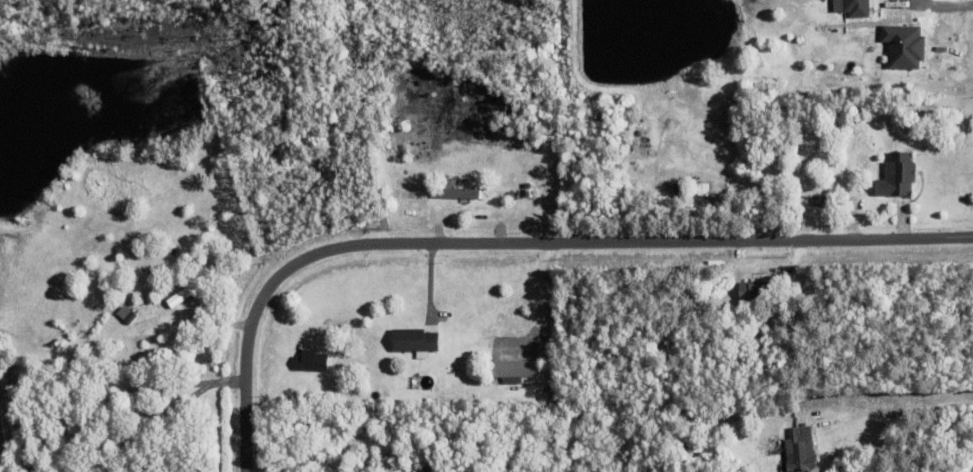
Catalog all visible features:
building: (849, 7)
road: (930, 11)
building: (897, 174)
building: (457, 192)
building: (820, 201)
road: (517, 251)
building: (187, 290)
building: (756, 295)
building: (126, 313)
building: (753, 335)
building: (415, 341)
building: (511, 368)
building: (461, 398)
road: (899, 412)
building: (80, 425)
building: (693, 426)
building: (144, 431)
building: (800, 454)
building: (429, 468)

